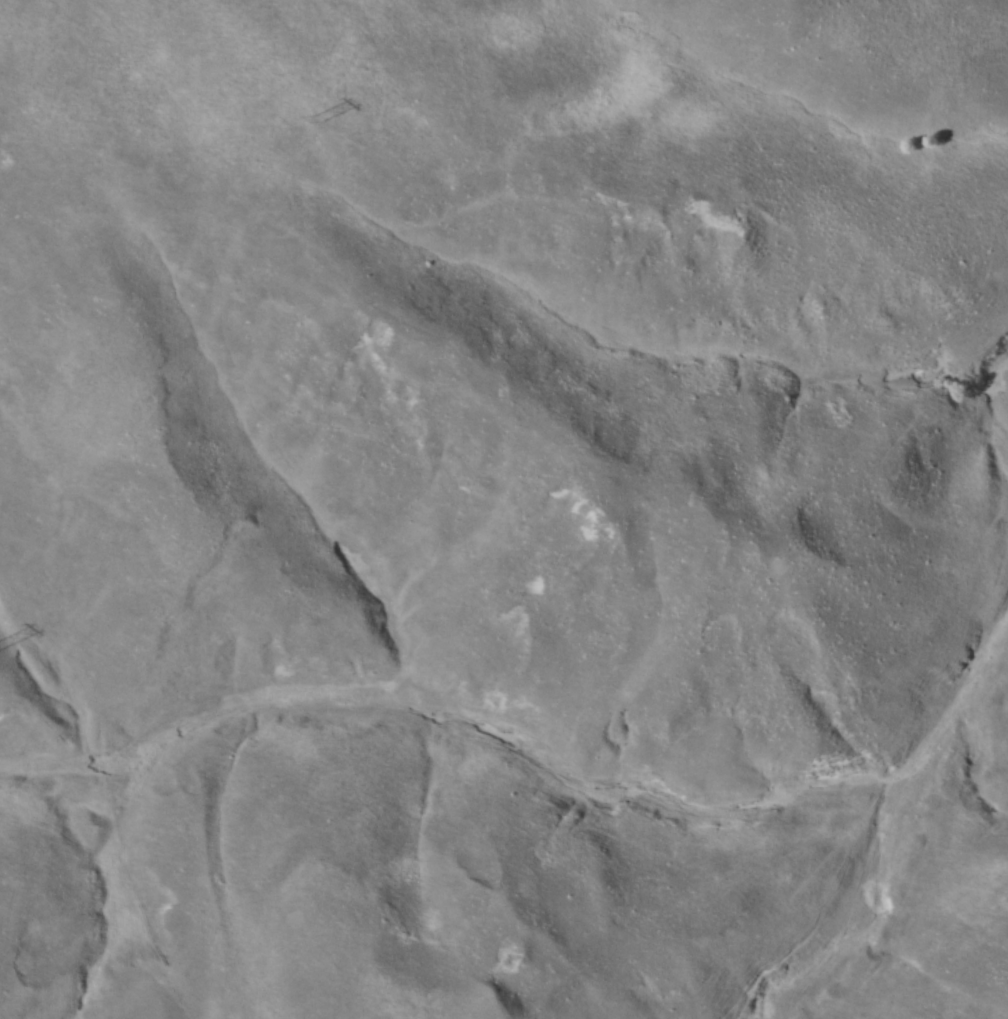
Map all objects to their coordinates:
power tower: (316, 118)

